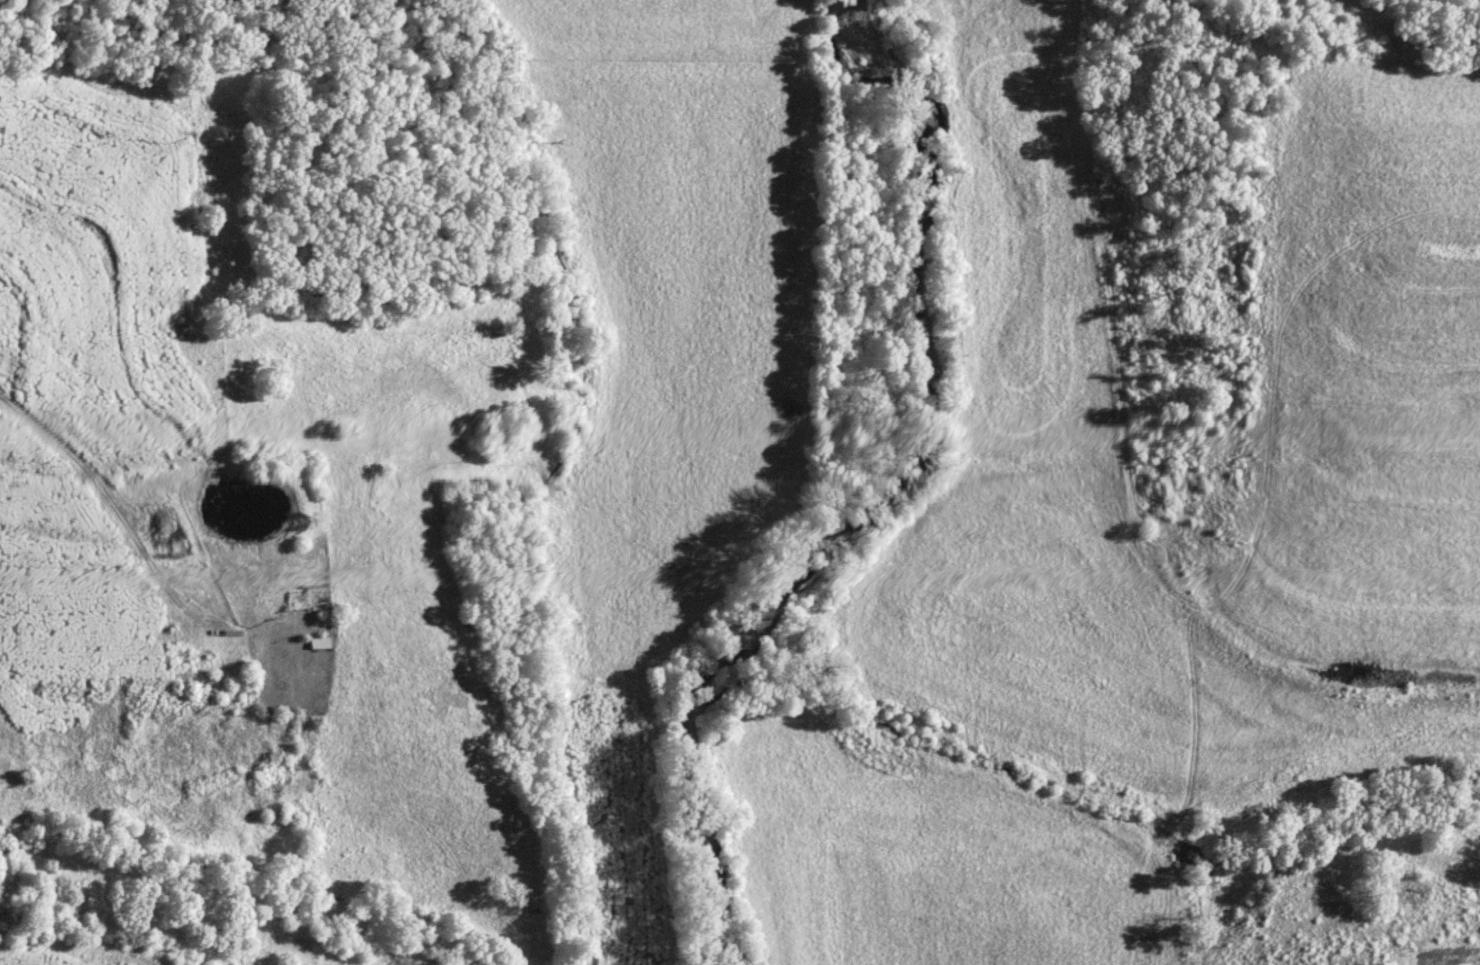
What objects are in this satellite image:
building: (317, 643)

